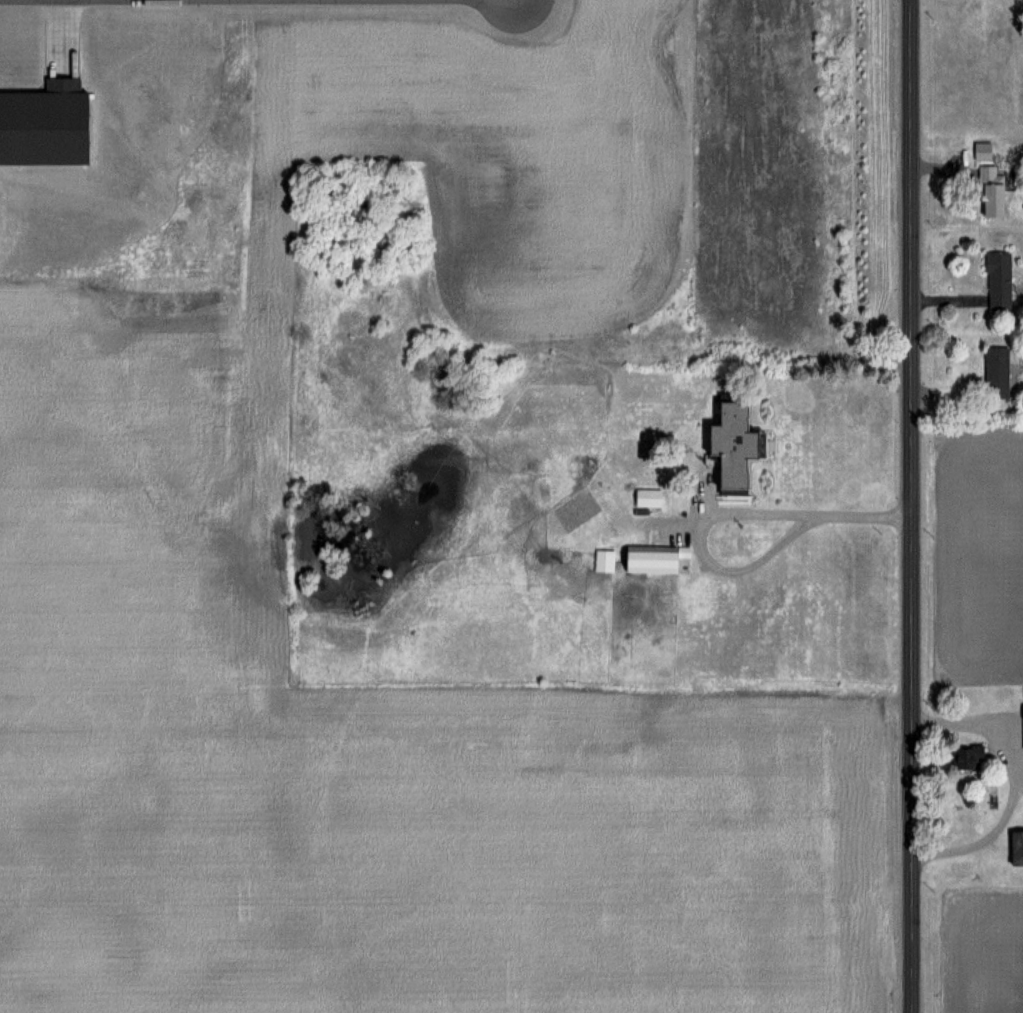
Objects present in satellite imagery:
road: (912, 114)
building: (982, 149)
building: (990, 191)
building: (997, 280)
building: (995, 372)
building: (731, 442)
building: (647, 496)
road: (718, 511)
building: (603, 555)
building: (648, 558)
road: (913, 620)
building: (1022, 727)
building: (967, 756)
road: (1014, 783)
building: (1015, 848)

